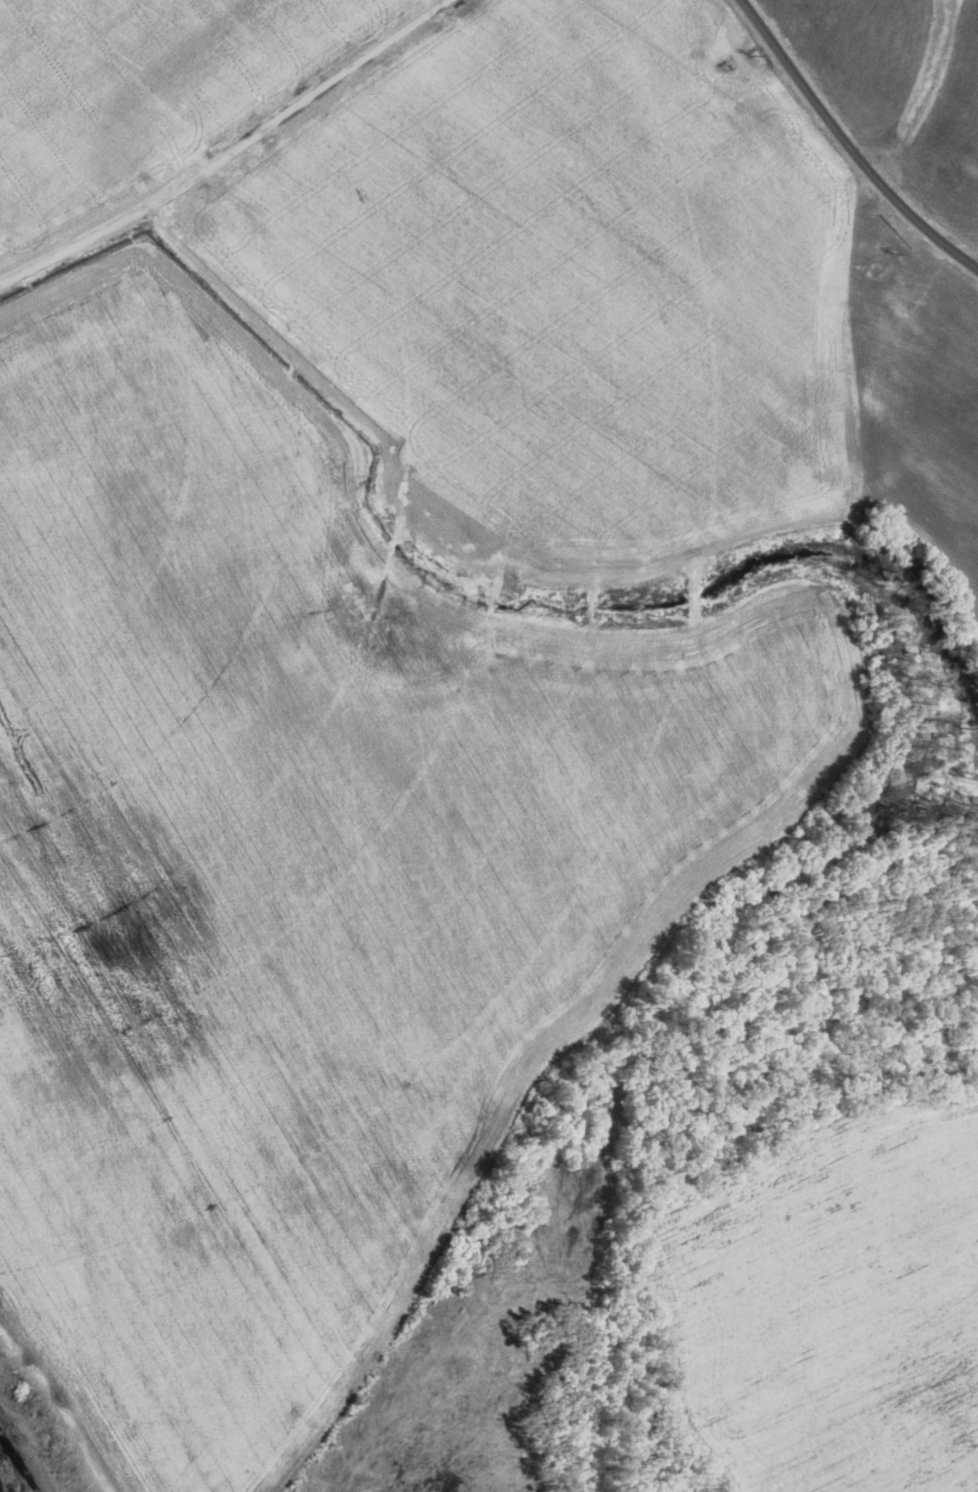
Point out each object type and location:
road: (847, 145)

